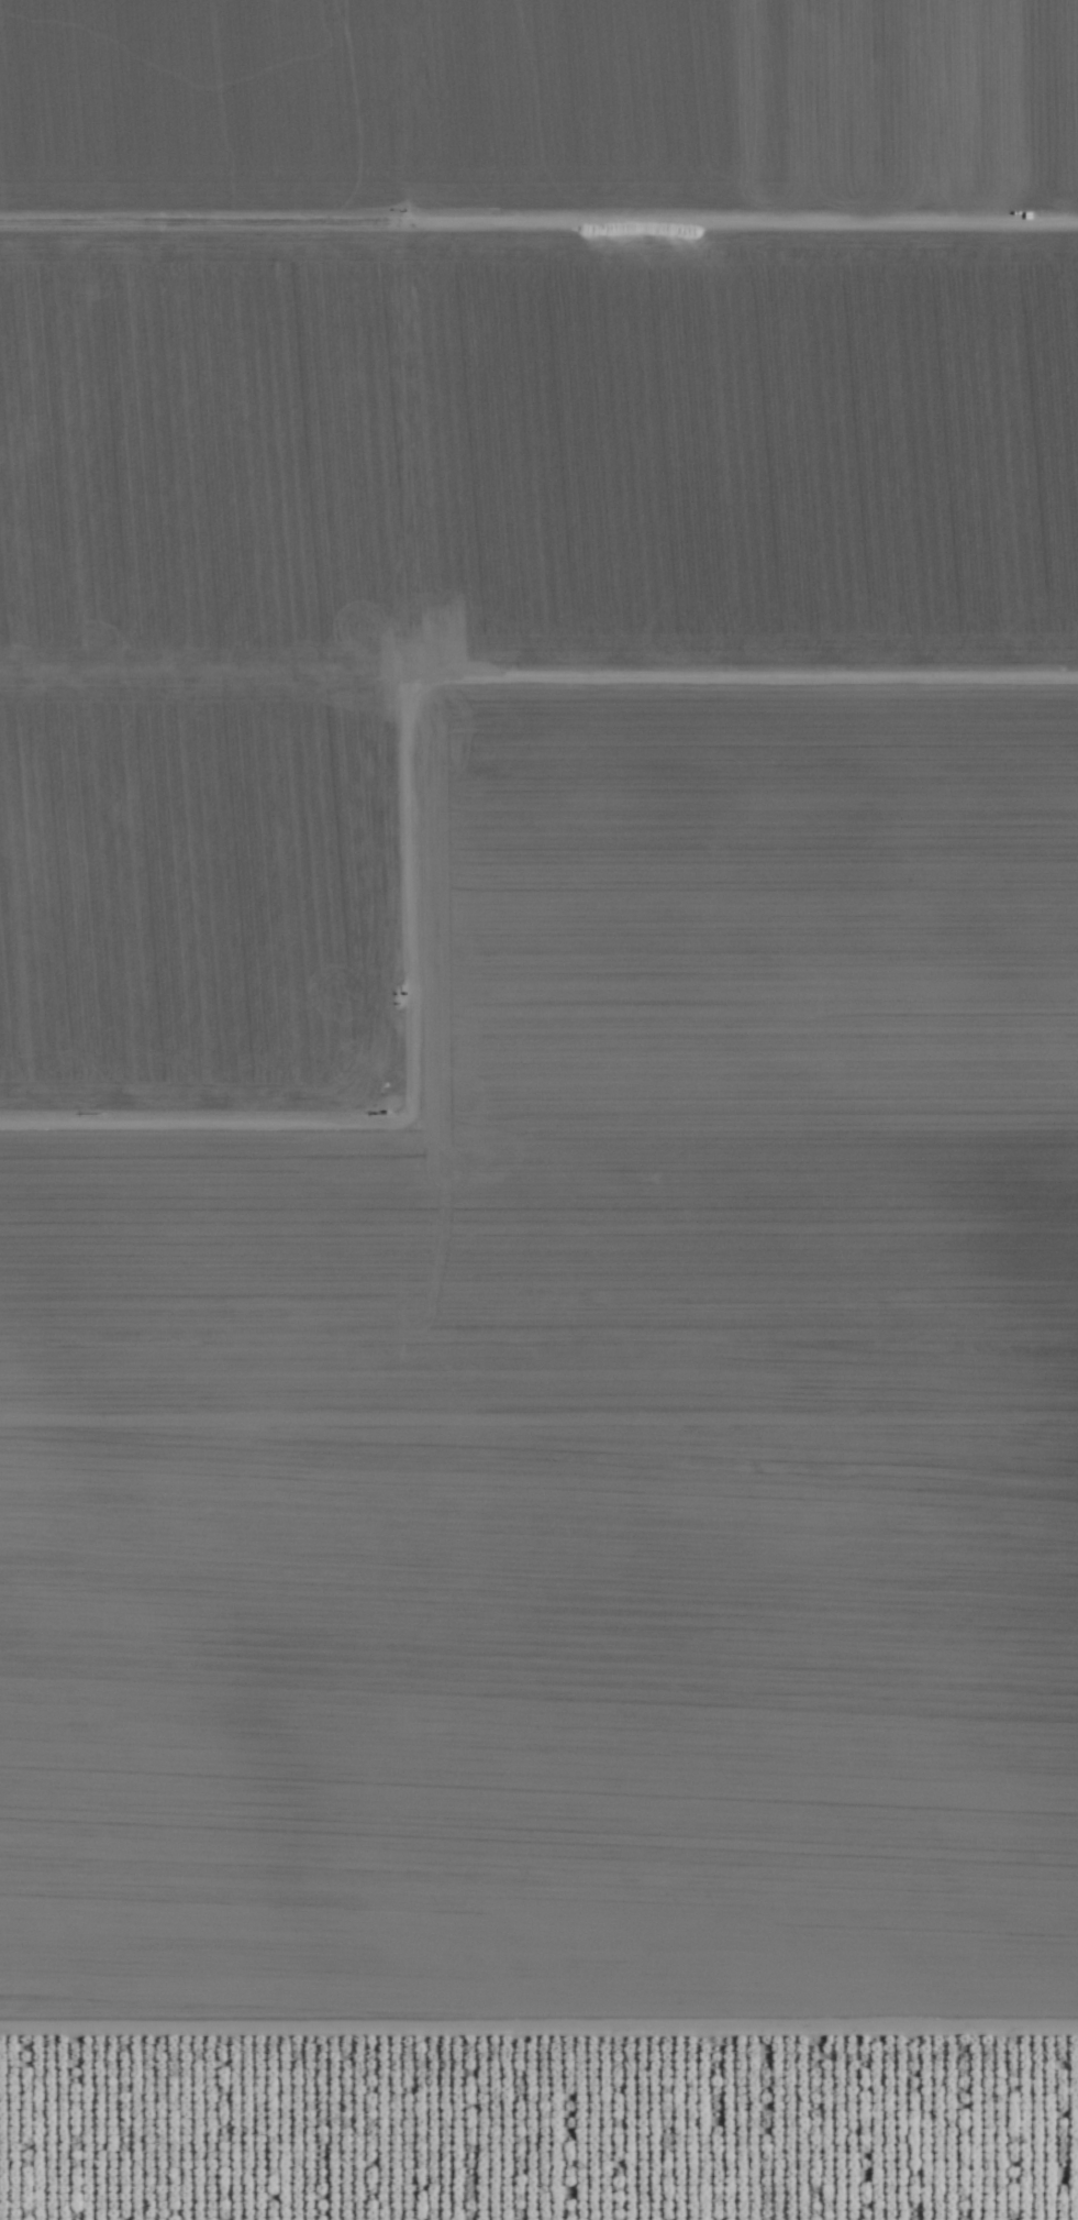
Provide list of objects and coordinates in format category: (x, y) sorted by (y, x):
road: (538, 1094)
crop: (538, 1109)
road: (538, 2029)

